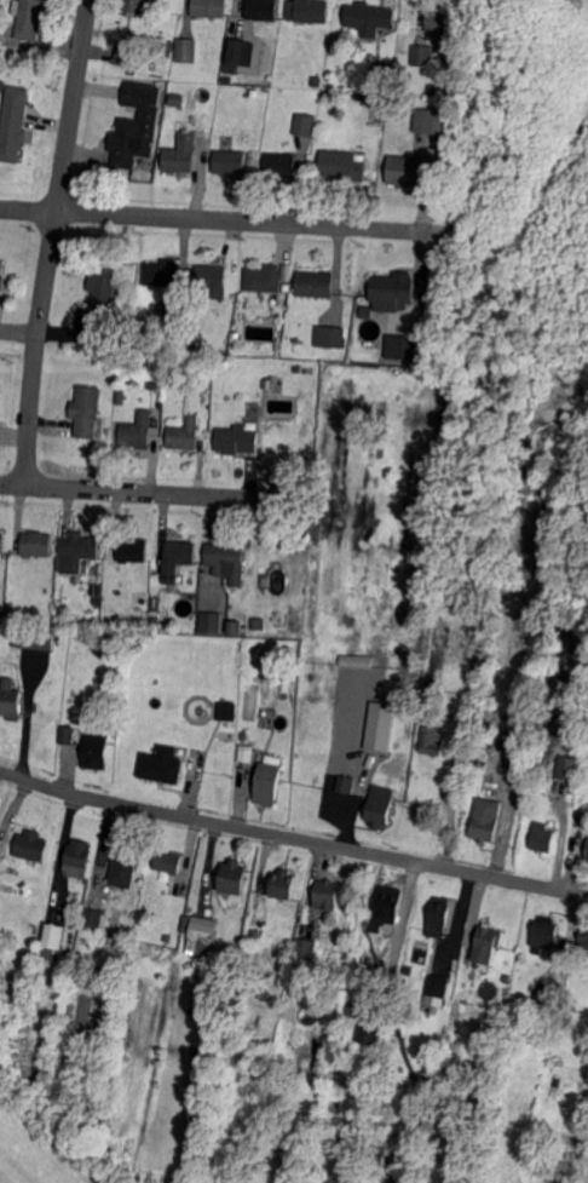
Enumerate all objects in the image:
park: (586, 0)
building: (134, 5)
building: (208, 8)
building: (261, 10)
building: (306, 11)
building: (370, 17)
building: (30, 18)
building: (443, 24)
building: (185, 50)
building: (125, 54)
building: (235, 56)
building: (422, 56)
building: (380, 73)
building: (227, 80)
building: (316, 82)
building: (432, 88)
building: (139, 94)
building: (363, 96)
building: (177, 101)
building: (433, 121)
building: (15, 125)
building: (305, 125)
building: (132, 142)
building: (180, 155)
building: (230, 162)
building: (279, 166)
building: (341, 166)
building: (407, 172)
road: (150, 217)
road: (358, 226)
road: (52, 242)
building: (162, 272)
building: (1, 275)
building: (265, 278)
building: (212, 281)
building: (315, 283)
building: (104, 285)
building: (286, 287)
building: (396, 288)
building: (365, 311)
building: (172, 314)
building: (110, 337)
building: (236, 338)
building: (328, 338)
building: (185, 344)
building: (402, 348)
building: (151, 384)
building: (120, 398)
building: (87, 410)
building: (109, 421)
building: (137, 430)
building: (185, 433)
building: (237, 440)
road: (127, 490)
building: (1, 541)
building: (36, 544)
building: (132, 550)
building: (81, 551)
building: (175, 559)
building: (226, 559)
building: (96, 591)
building: (139, 597)
building: (155, 604)
building: (48, 613)
building: (155, 620)
building: (208, 621)
building: (259, 625)
building: (234, 627)
building: (38, 641)
building: (358, 661)
building: (10, 701)
building: (227, 711)
building: (379, 727)
building: (68, 735)
building: (430, 742)
building: (97, 751)
building: (246, 753)
building: (163, 765)
building: (566, 770)
building: (583, 770)
building: (269, 783)
building: (342, 787)
building: (380, 805)
building: (484, 820)
road: (293, 838)
building: (542, 840)
building: (31, 846)
building: (587, 854)
building: (79, 858)
building: (168, 862)
building: (123, 869)
building: (234, 877)
building: (282, 888)
building: (327, 894)
building: (385, 908)
building: (439, 917)
building: (93, 918)
building: (204, 931)
building: (546, 934)
building: (255, 935)
building: (167, 938)
building: (52, 942)
building: (583, 943)
building: (485, 944)
building: (306, 948)
building: (117, 961)
building: (409, 970)
building: (224, 983)
building: (437, 989)
building: (544, 999)
building: (385, 1027)
building: (368, 1030)
building: (34, 1059)
building: (555, 1082)
building: (385, 1093)
building: (554, 1093)
building: (576, 1142)

